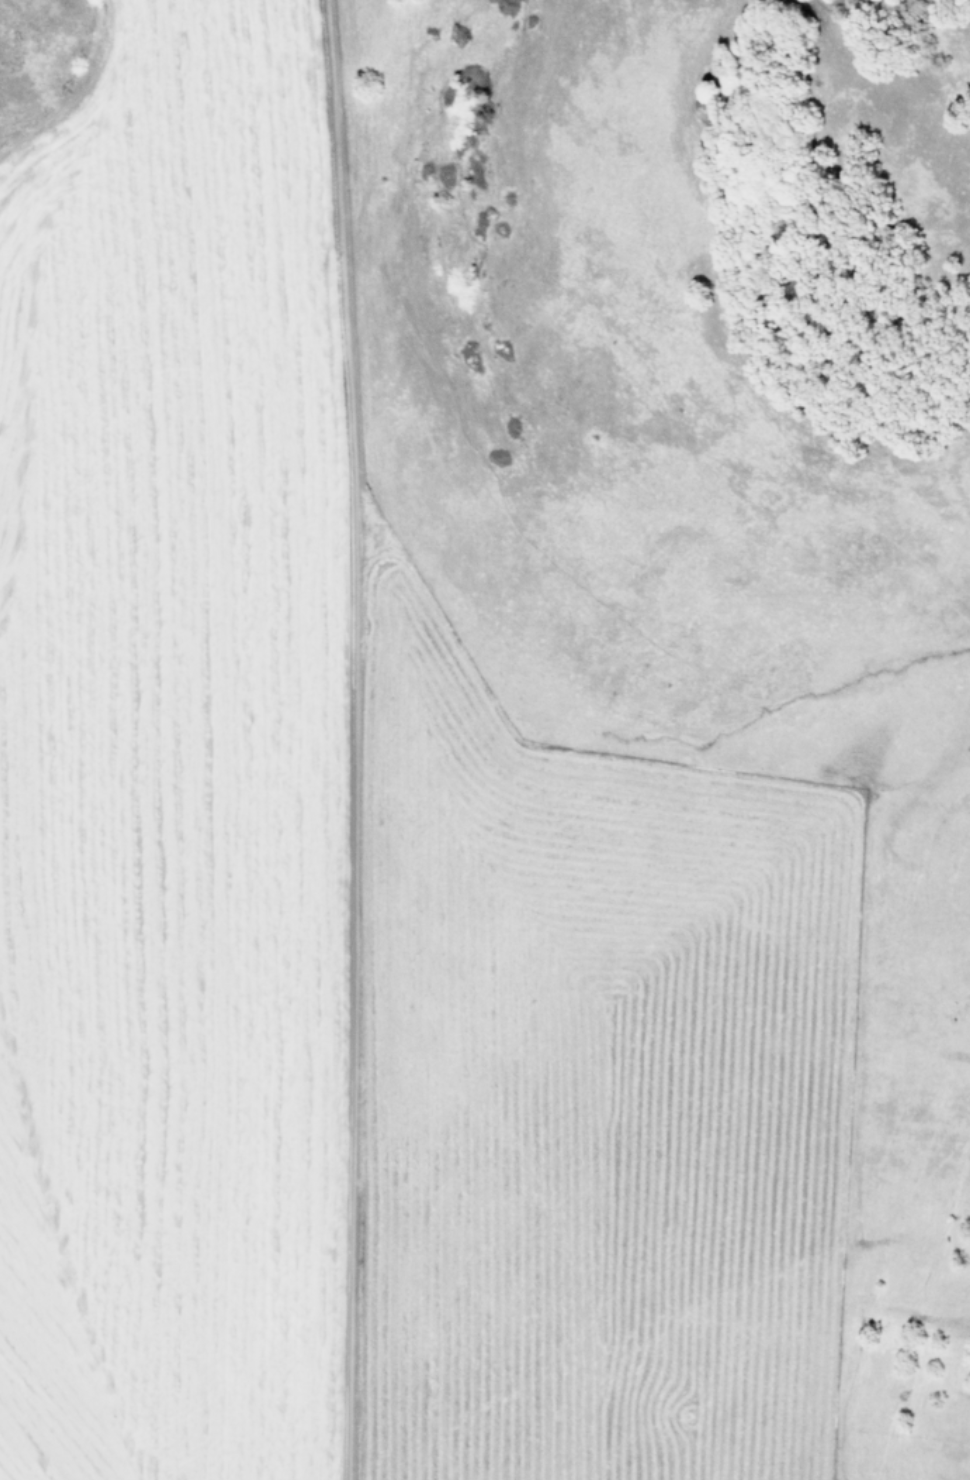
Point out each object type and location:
crop: (454, 784)

